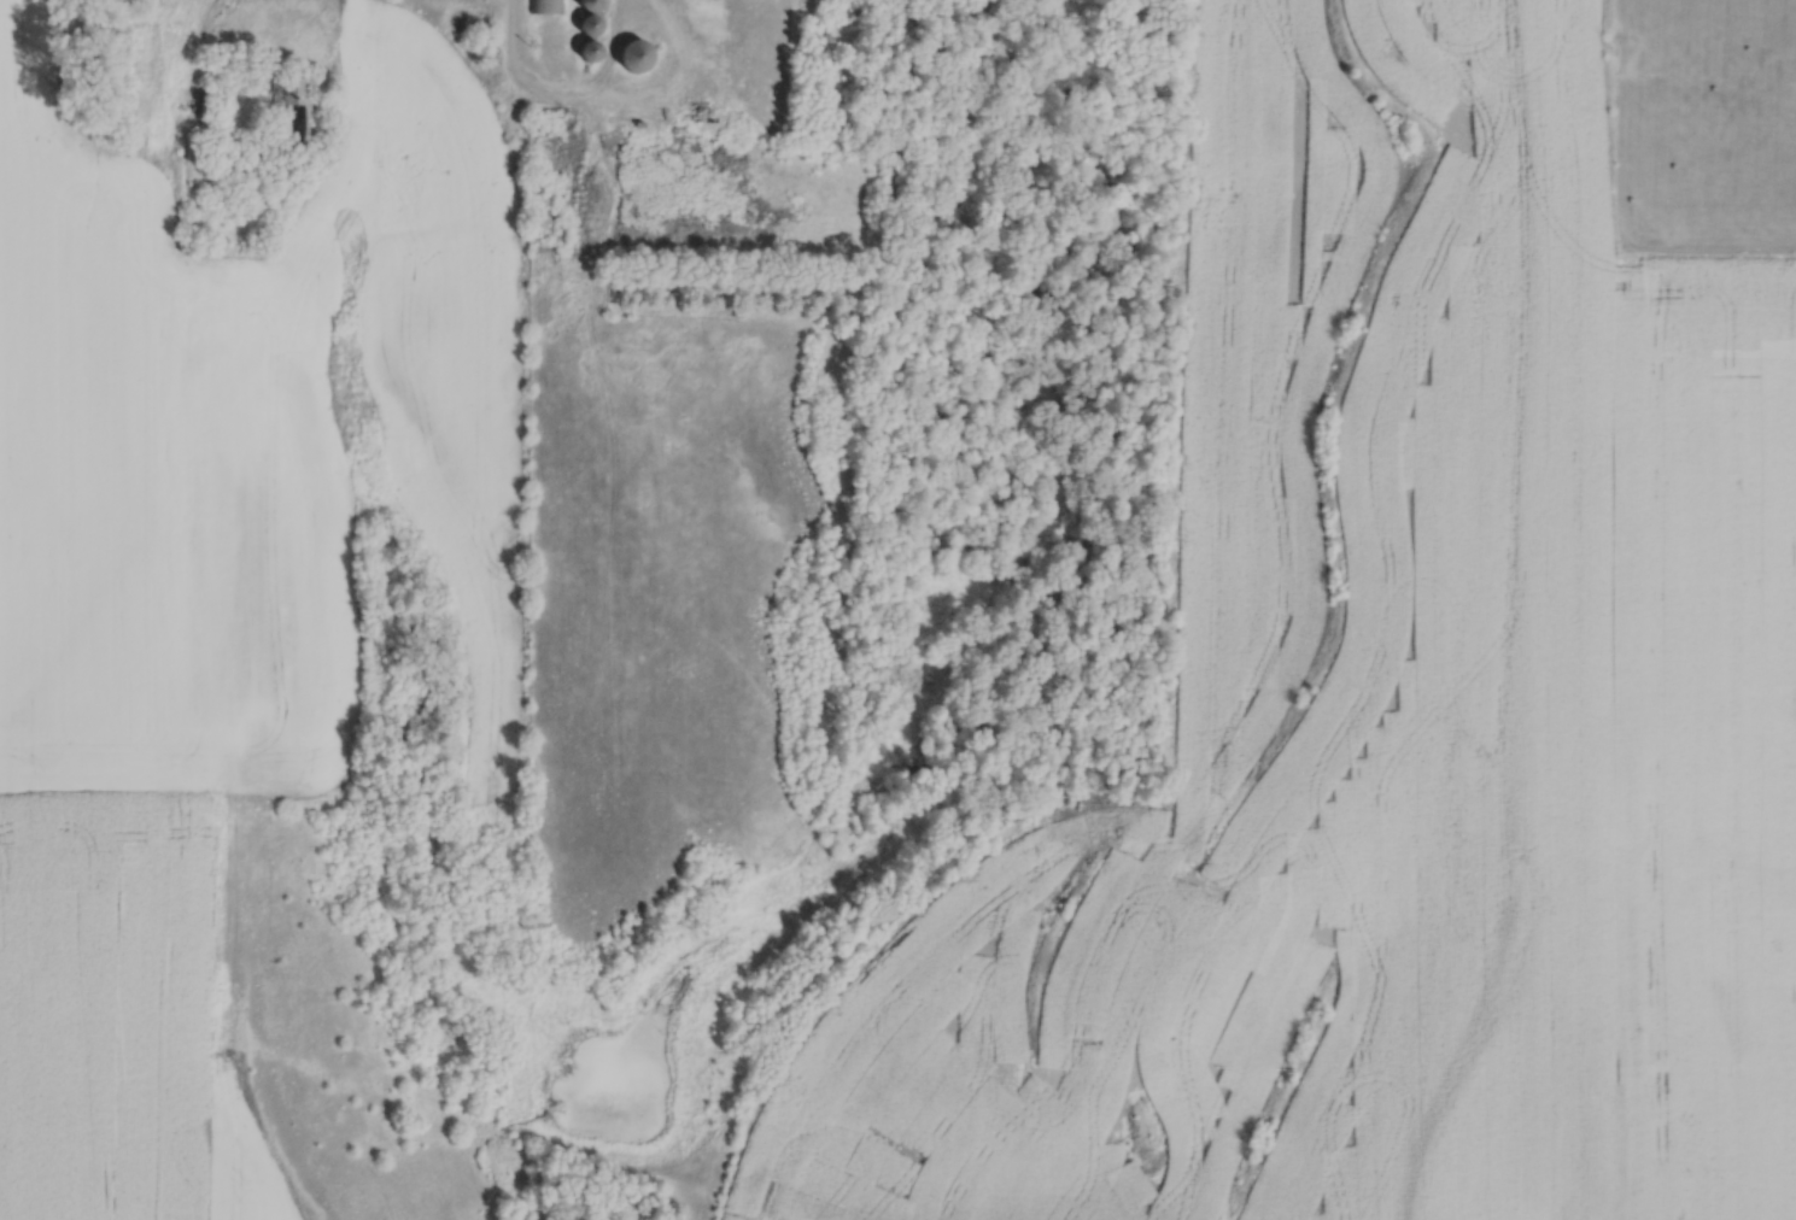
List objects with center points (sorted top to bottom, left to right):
building: (549, 6)
building: (593, 16)
building: (593, 51)
building: (637, 54)
building: (297, 107)

